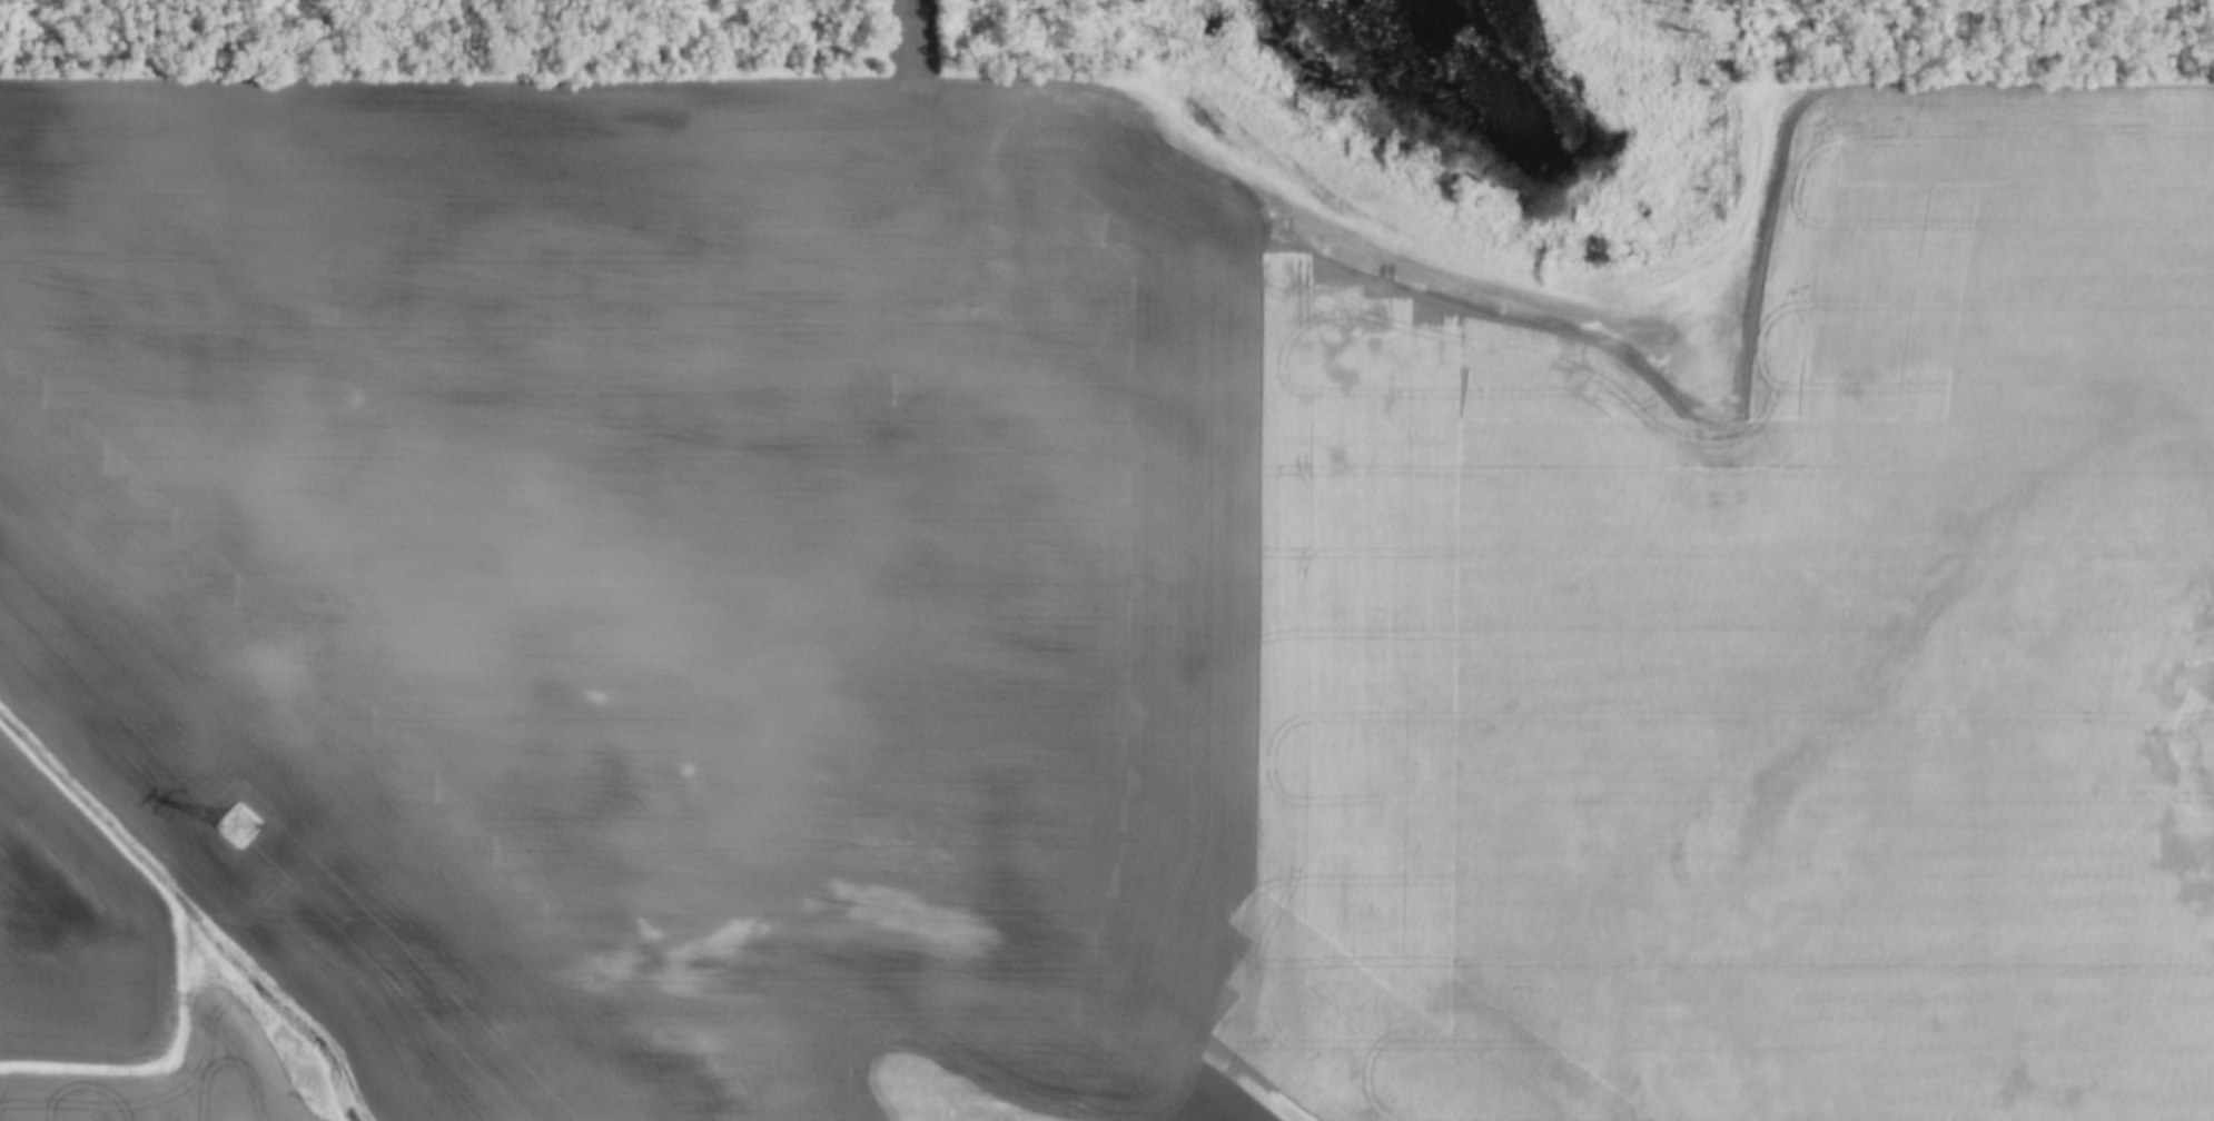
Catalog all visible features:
power tower: (236, 826)

